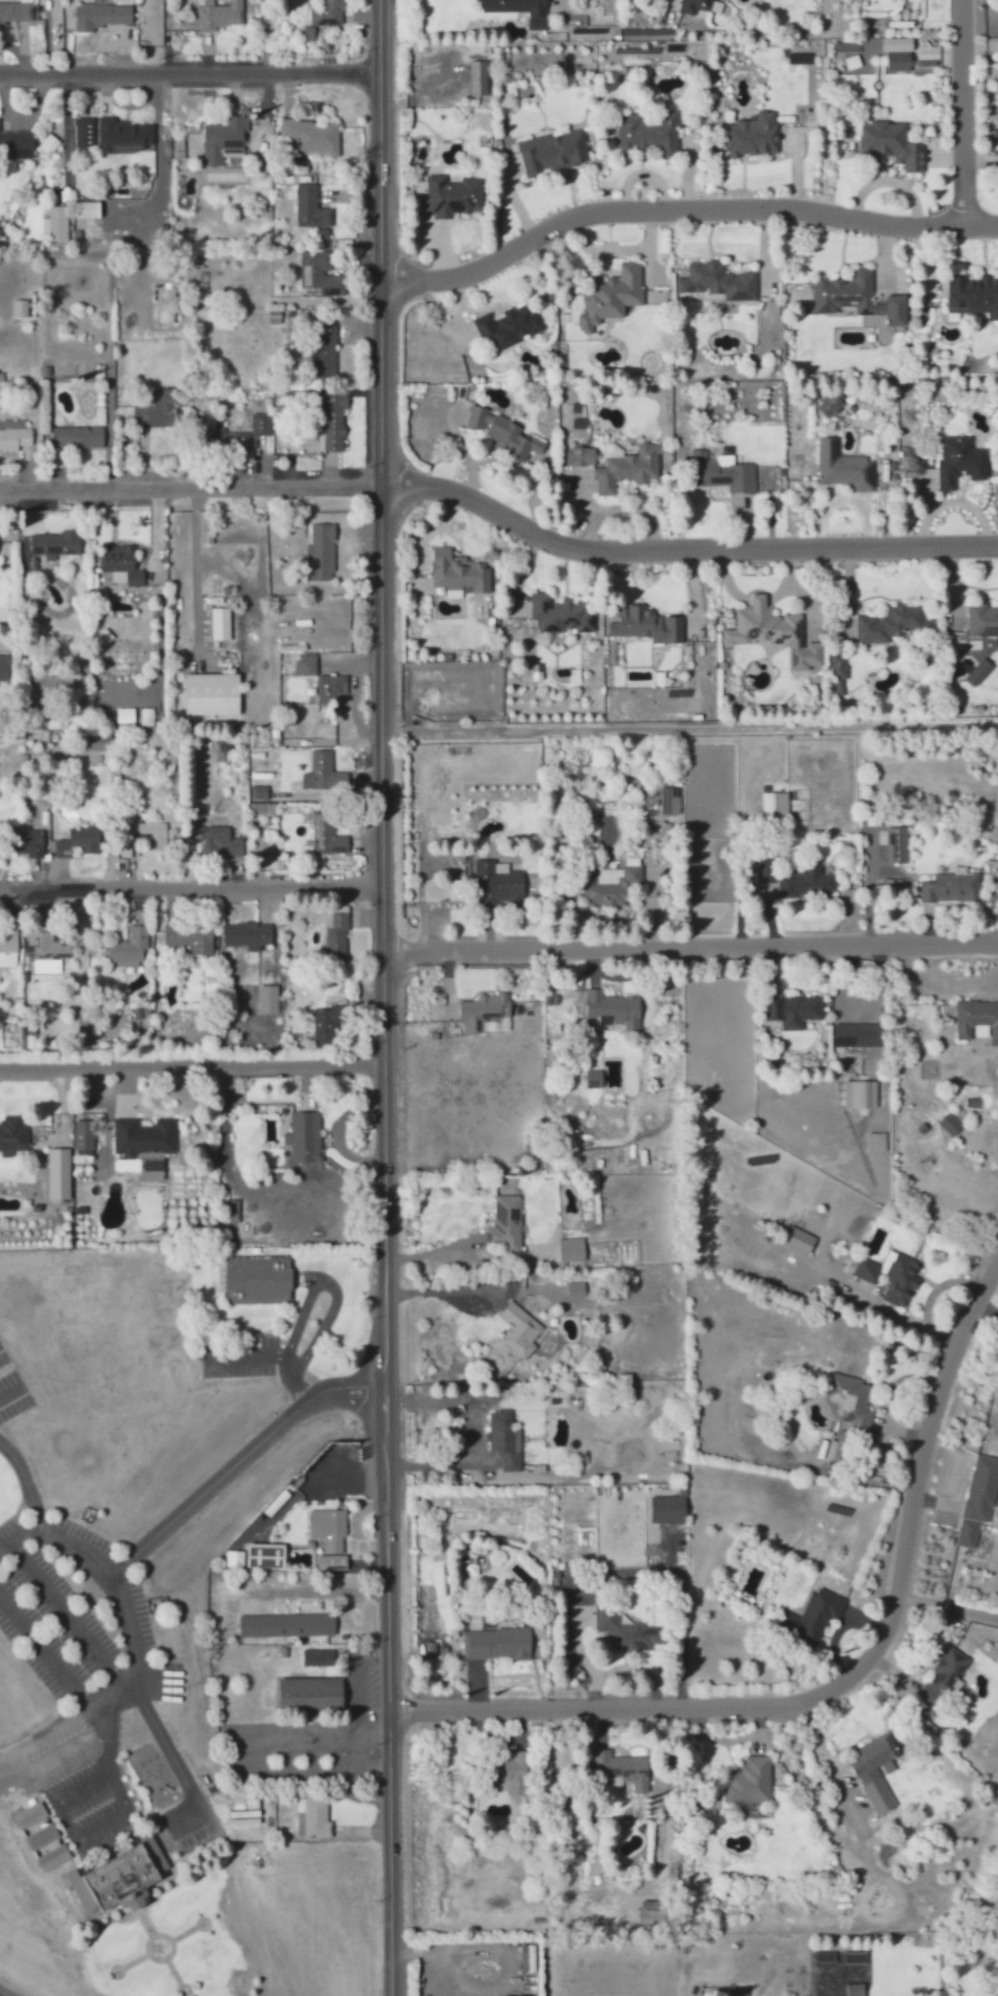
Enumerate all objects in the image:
building: (697, 6)
building: (323, 9)
building: (520, 10)
building: (16, 12)
building: (101, 15)
building: (219, 15)
road: (187, 68)
road: (963, 112)
building: (81, 126)
building: (308, 130)
road: (63, 131)
building: (119, 131)
building: (650, 134)
building: (221, 135)
building: (752, 135)
building: (45, 139)
building: (14, 140)
building: (892, 143)
building: (553, 151)
building: (452, 195)
building: (307, 203)
building: (84, 205)
road: (680, 213)
building: (52, 219)
building: (320, 273)
building: (719, 281)
building: (611, 296)
building: (973, 296)
building: (20, 308)
building: (274, 317)
building: (510, 325)
building: (325, 351)
building: (830, 404)
building: (159, 409)
building: (479, 418)
building: (332, 422)
building: (261, 426)
building: (237, 429)
building: (14, 434)
building: (77, 437)
building: (513, 439)
building: (237, 440)
building: (581, 456)
building: (960, 461)
building: (626, 467)
building: (843, 467)
road: (188, 483)
building: (48, 546)
road: (679, 552)
building: (320, 553)
building: (123, 565)
building: (458, 573)
building: (561, 614)
building: (982, 620)
building: (220, 624)
building: (893, 624)
building: (647, 625)
building: (774, 632)
building: (305, 665)
building: (3, 667)
building: (839, 667)
building: (331, 688)
building: (212, 694)
road: (690, 729)
building: (100, 741)
building: (324, 773)
building: (259, 793)
building: (670, 801)
building: (775, 804)
building: (264, 809)
building: (323, 833)
building: (152, 835)
building: (24, 841)
building: (219, 841)
building: (79, 842)
building: (897, 845)
building: (272, 862)
building: (766, 869)
road: (191, 882)
building: (807, 883)
building: (499, 884)
building: (951, 888)
building: (602, 892)
building: (336, 932)
building: (247, 935)
building: (188, 939)
road: (691, 947)
building: (8, 948)
building: (129, 948)
building: (48, 952)
road: (383, 997)
building: (268, 999)
building: (614, 1009)
building: (793, 1010)
building: (483, 1011)
building: (977, 1020)
building: (327, 1024)
building: (858, 1035)
road: (191, 1066)
building: (594, 1077)
building: (952, 1121)
building: (13, 1135)
building: (84, 1136)
building: (144, 1136)
building: (306, 1137)
building: (152, 1170)
building: (59, 1174)
building: (233, 1211)
building: (507, 1223)
building: (798, 1239)
building: (572, 1250)
building: (866, 1270)
building: (258, 1280)
building: (901, 1280)
road: (335, 1284)
building: (576, 1290)
road: (438, 1291)
building: (520, 1330)
road: (277, 1355)
building: (507, 1433)
road: (241, 1456)
road: (28, 1480)
building: (979, 1497)
building: (328, 1528)
road: (56, 1536)
building: (266, 1555)
building: (234, 1558)
road: (946, 1602)
building: (814, 1616)
building: (287, 1625)
building: (626, 1630)
building: (497, 1643)
building: (317, 1657)
building: (951, 1673)
road: (116, 1690)
road: (835, 1690)
building: (309, 1695)
building: (623, 1769)
building: (513, 1772)
building: (875, 1775)
building: (750, 1780)
building: (313, 1817)
building: (42, 1835)
building: (54, 1857)
building: (119, 1878)
building: (651, 1917)
building: (528, 1958)
building: (855, 1989)

